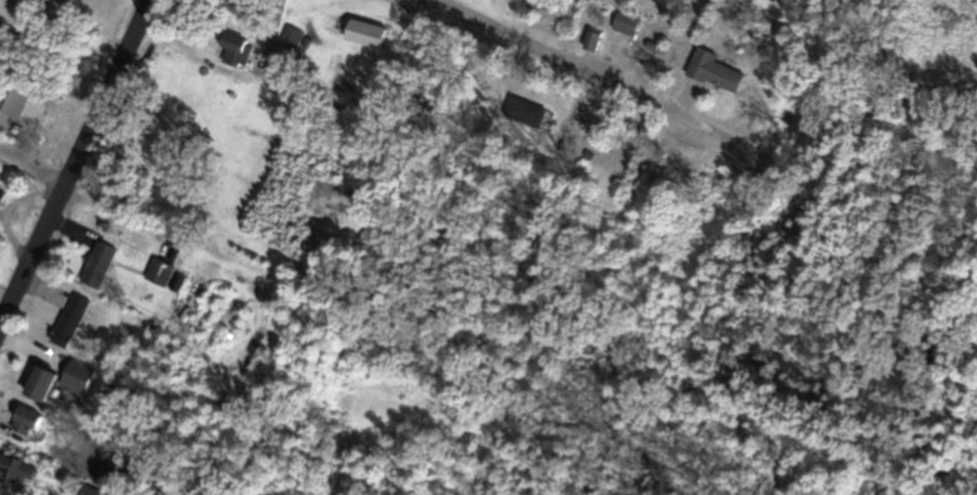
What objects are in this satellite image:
building: (626, 0)
road: (270, 24)
building: (624, 31)
building: (363, 40)
building: (290, 44)
building: (230, 49)
building: (594, 49)
road: (597, 73)
building: (715, 78)
building: (25, 110)
road: (76, 163)
road: (32, 173)
building: (1, 202)
building: (96, 272)
building: (156, 279)
building: (68, 327)
building: (38, 391)
building: (23, 428)

